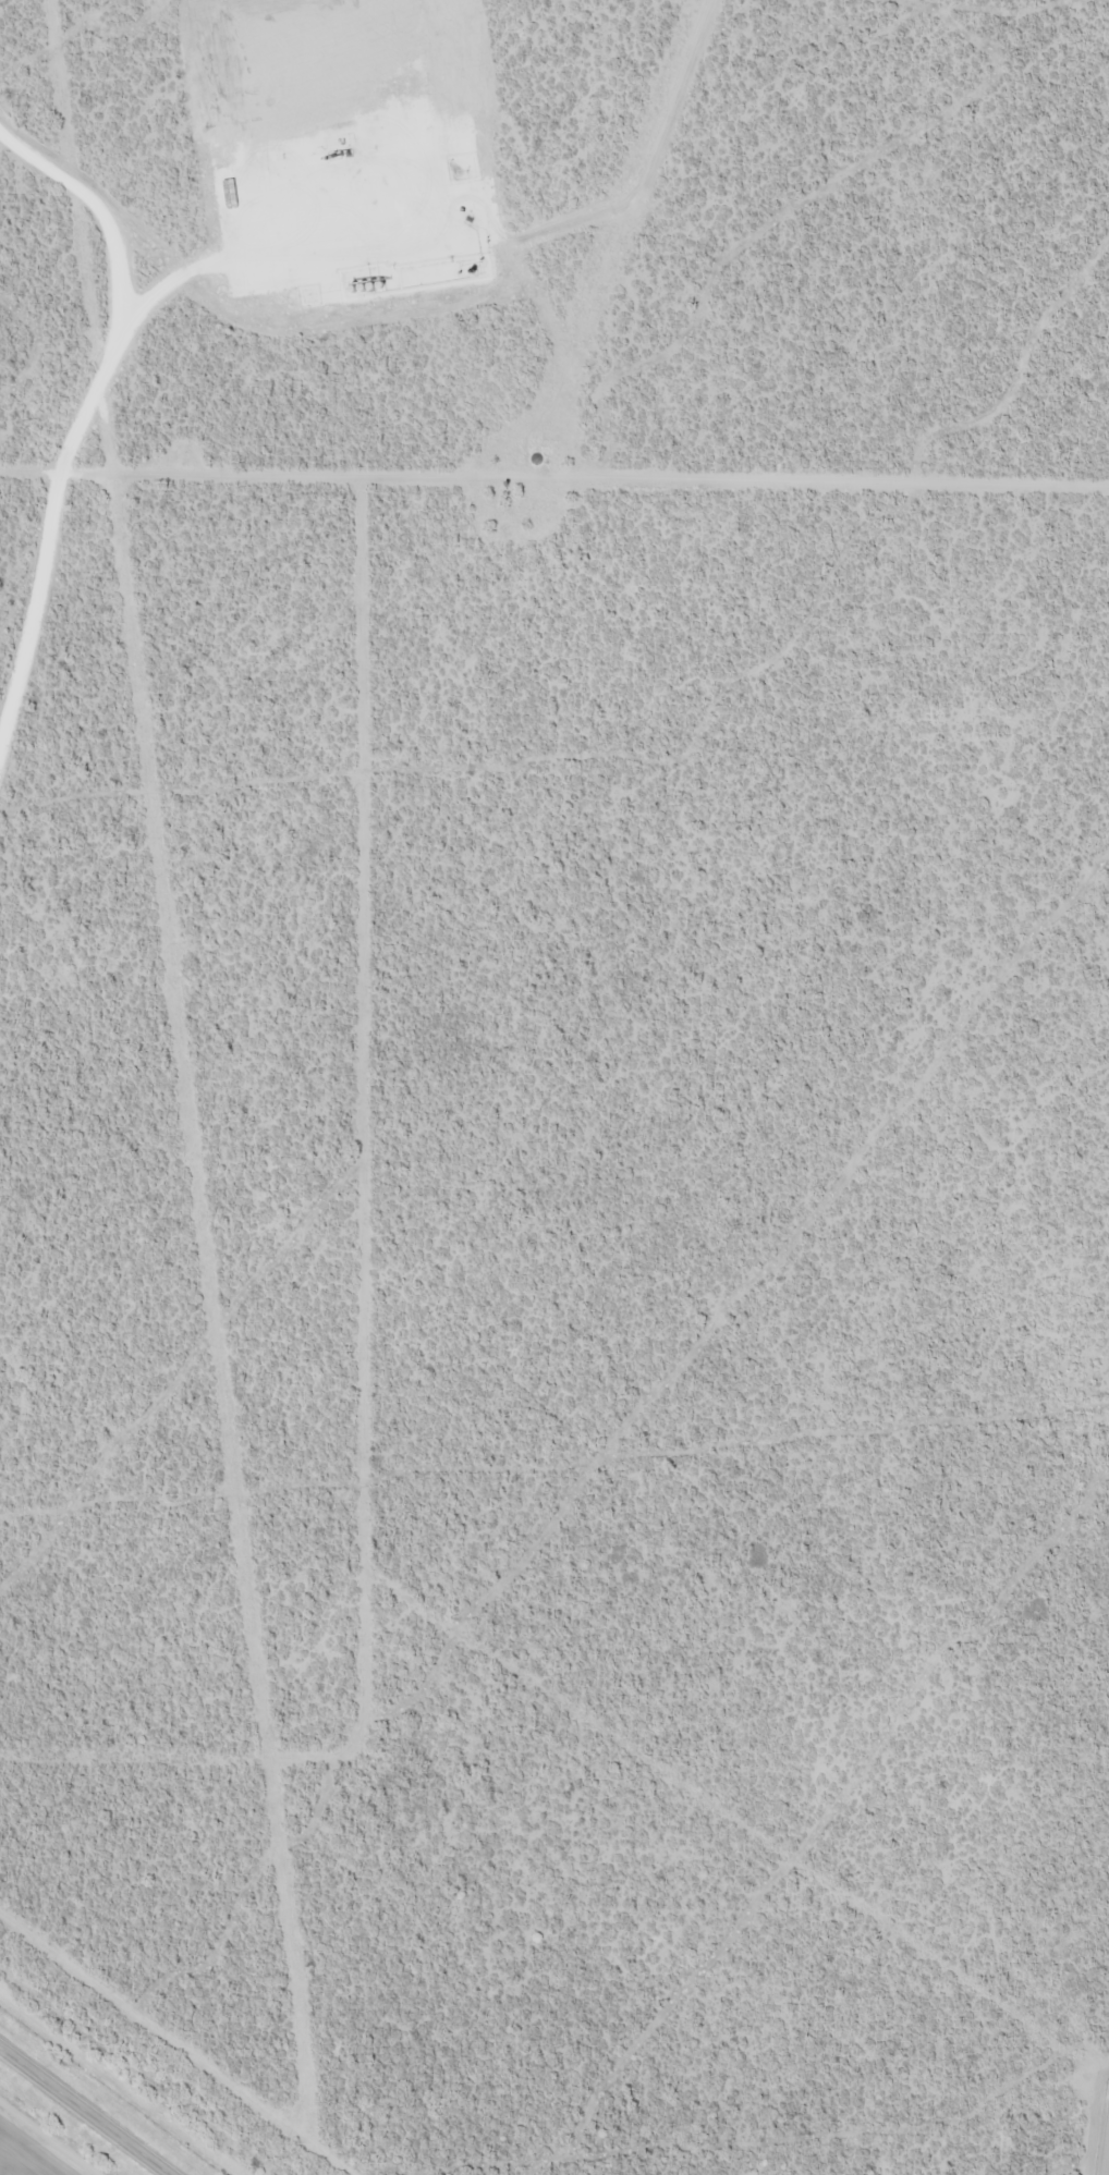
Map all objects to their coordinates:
road: (90, 2106)

